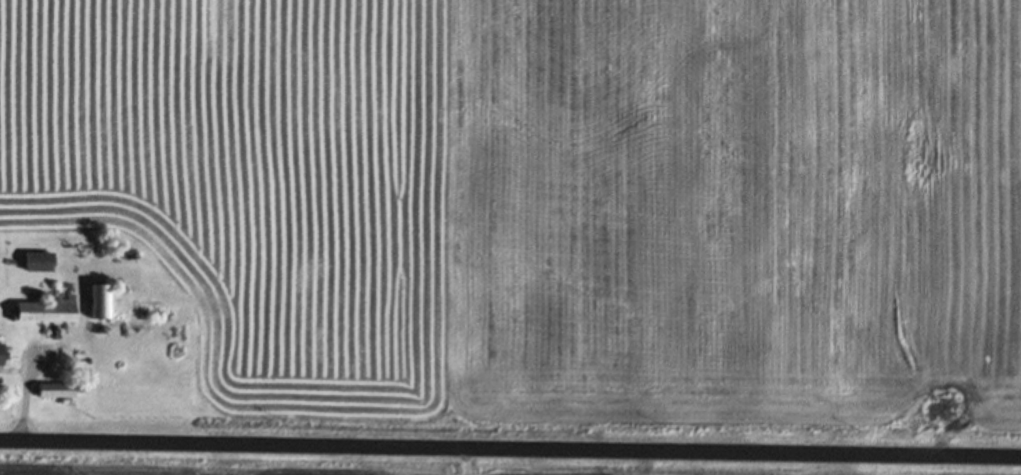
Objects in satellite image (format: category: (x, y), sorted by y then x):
building: (35, 262)
building: (97, 302)
building: (41, 312)
building: (52, 391)
road: (510, 447)

